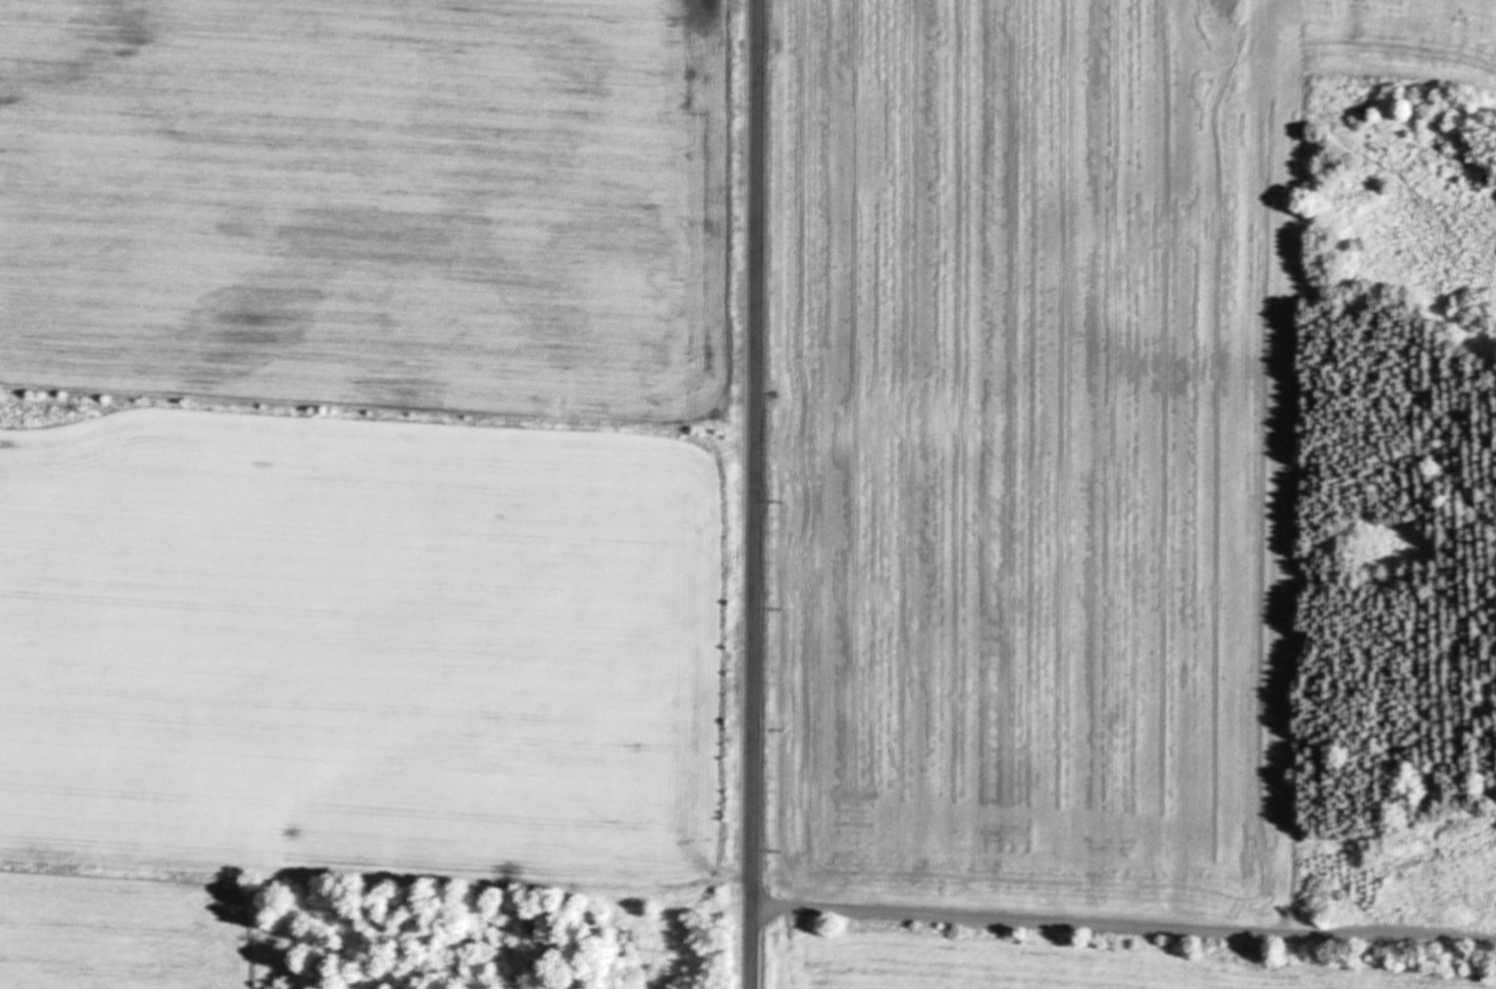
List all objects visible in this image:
road: (752, 494)
road: (1123, 927)

